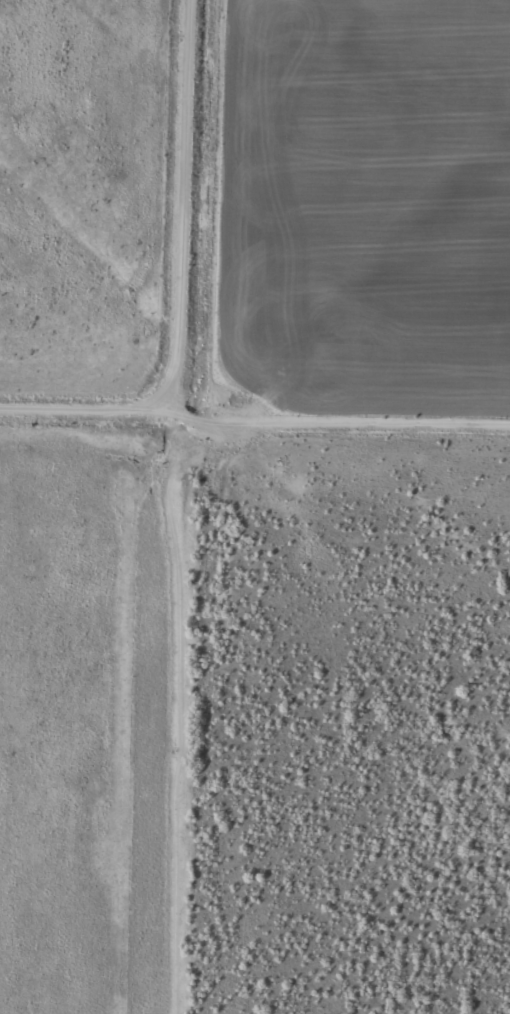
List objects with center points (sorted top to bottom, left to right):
road: (173, 198)
road: (337, 418)
road: (85, 419)

